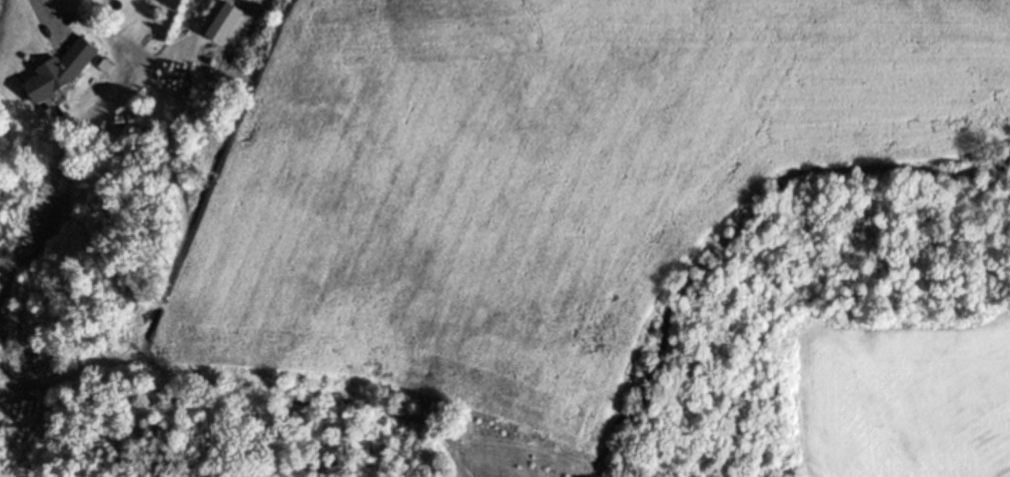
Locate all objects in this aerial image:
road: (46, 11)
building: (224, 21)
building: (61, 69)

